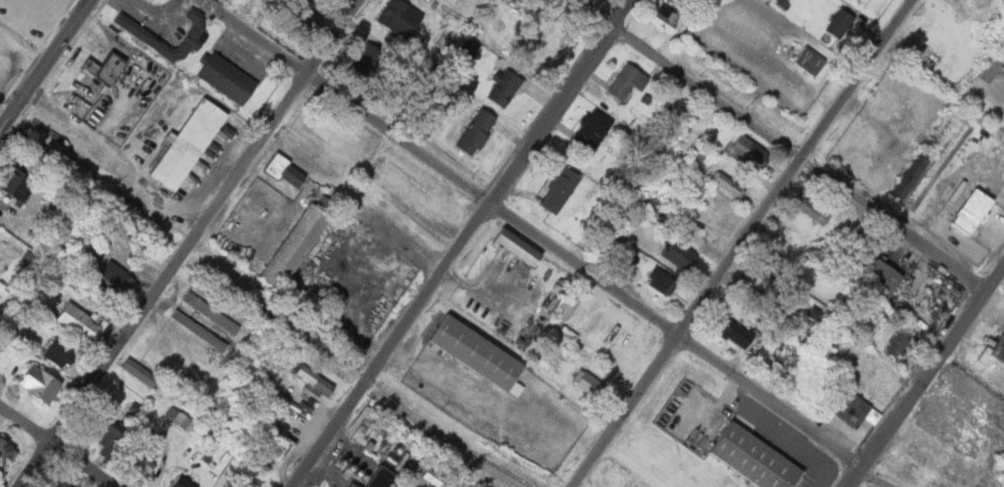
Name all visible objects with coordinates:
building: (857, 0)
building: (865, 1)
building: (781, 3)
building: (399, 18)
building: (664, 19)
building: (194, 22)
building: (840, 23)
building: (137, 31)
road: (51, 58)
building: (366, 58)
building: (809, 60)
building: (110, 68)
building: (227, 78)
building: (627, 81)
building: (504, 86)
building: (675, 104)
road: (5, 113)
road: (5, 124)
building: (592, 130)
building: (476, 131)
building: (186, 144)
road: (782, 144)
building: (749, 151)
building: (695, 156)
building: (278, 169)
building: (910, 175)
building: (15, 182)
building: (727, 183)
building: (558, 189)
building: (812, 210)
building: (972, 211)
building: (846, 232)
road: (527, 236)
building: (298, 240)
road: (189, 244)
road: (459, 244)
building: (608, 245)
road: (744, 245)
building: (517, 246)
building: (1, 249)
building: (677, 256)
building: (768, 259)
building: (113, 278)
building: (761, 279)
building: (881, 279)
building: (660, 281)
building: (740, 281)
building: (548, 302)
building: (209, 312)
building: (80, 322)
building: (730, 328)
building: (198, 330)
building: (898, 343)
building: (58, 353)
building: (476, 353)
building: (992, 353)
building: (871, 369)
building: (140, 373)
railway: (359, 374)
road: (925, 376)
building: (313, 381)
building: (585, 382)
building: (40, 384)
building: (130, 408)
building: (850, 409)
building: (178, 419)
building: (104, 432)
road: (54, 448)
building: (144, 454)
building: (6, 455)
building: (754, 458)
building: (373, 478)
building: (182, 483)
building: (60, 484)
railway: (498, 484)
building: (349, 486)

